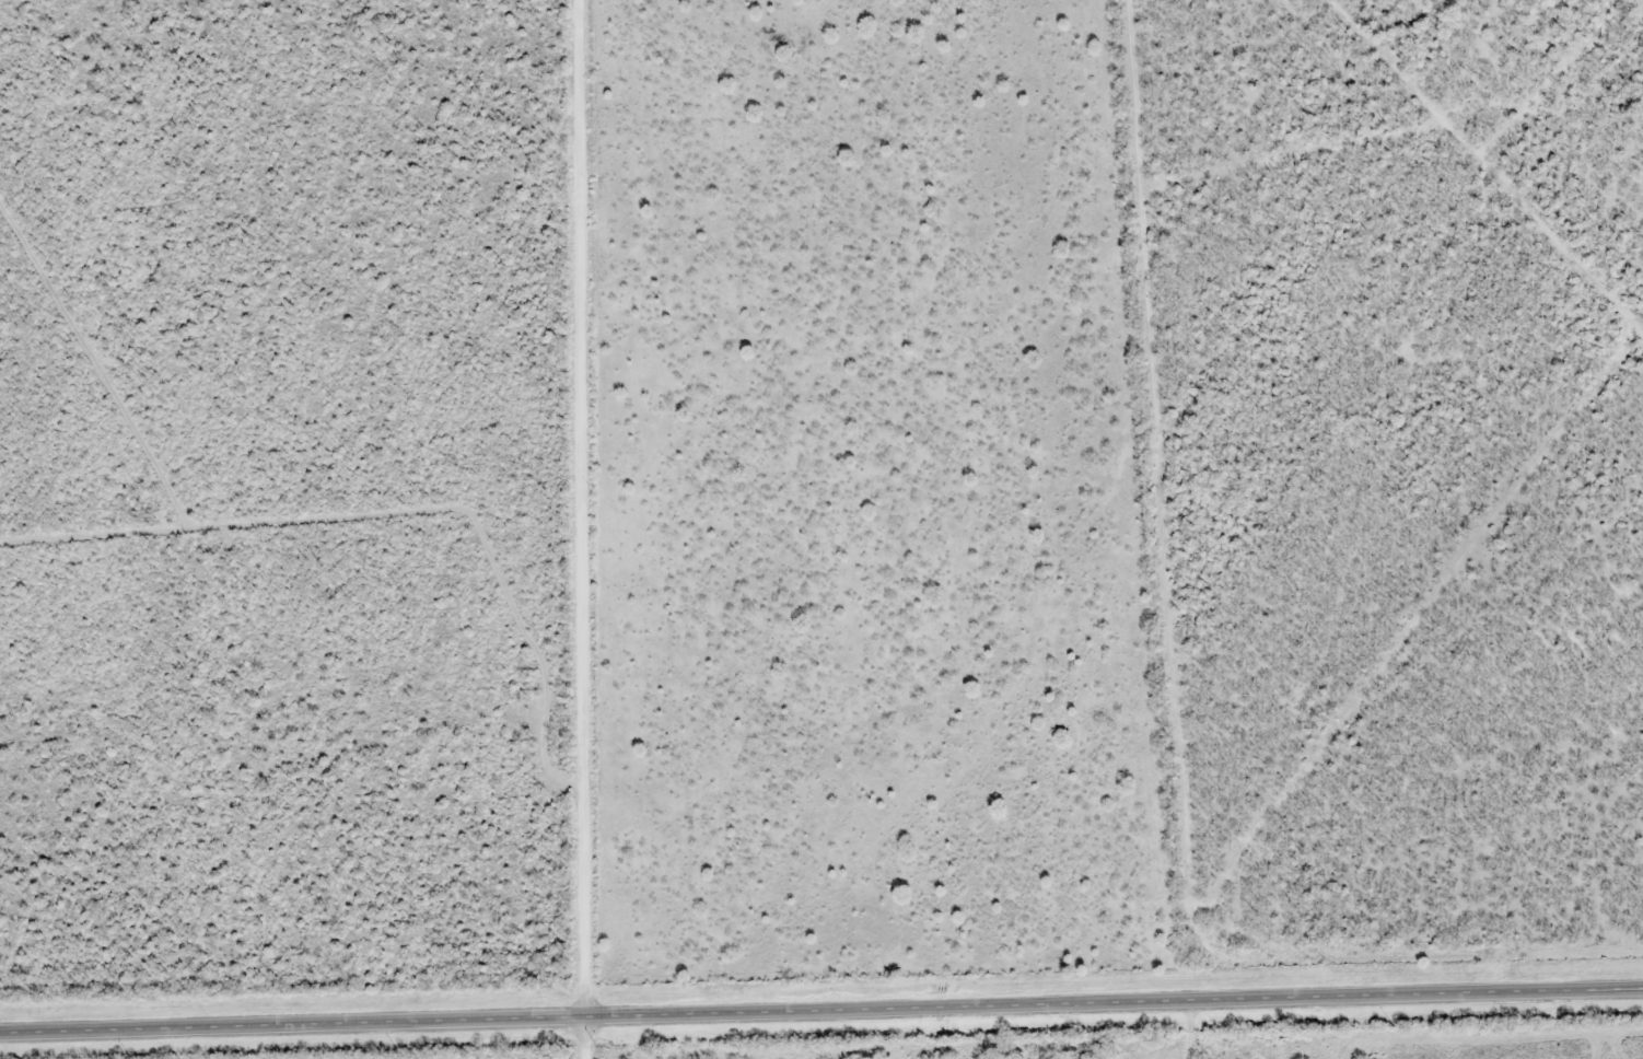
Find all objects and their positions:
road: (582, 528)
road: (820, 1009)

